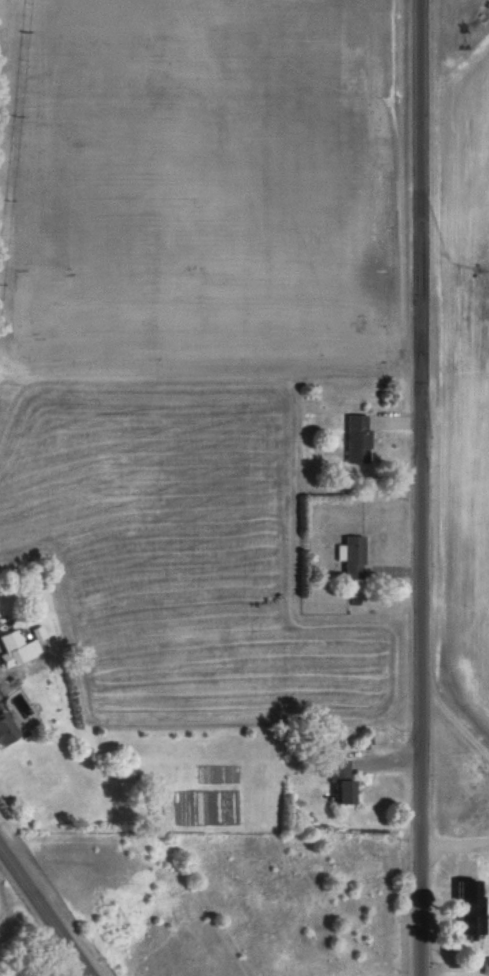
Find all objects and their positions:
crop: (467, 372)
building: (357, 438)
road: (421, 488)
building: (354, 557)
crop: (176, 561)
building: (13, 649)
road: (5, 686)
road: (455, 720)
building: (6, 731)
building: (339, 768)
building: (345, 792)
road: (455, 842)
road: (44, 913)
building: (471, 921)
crop: (8, 922)
building: (485, 966)

